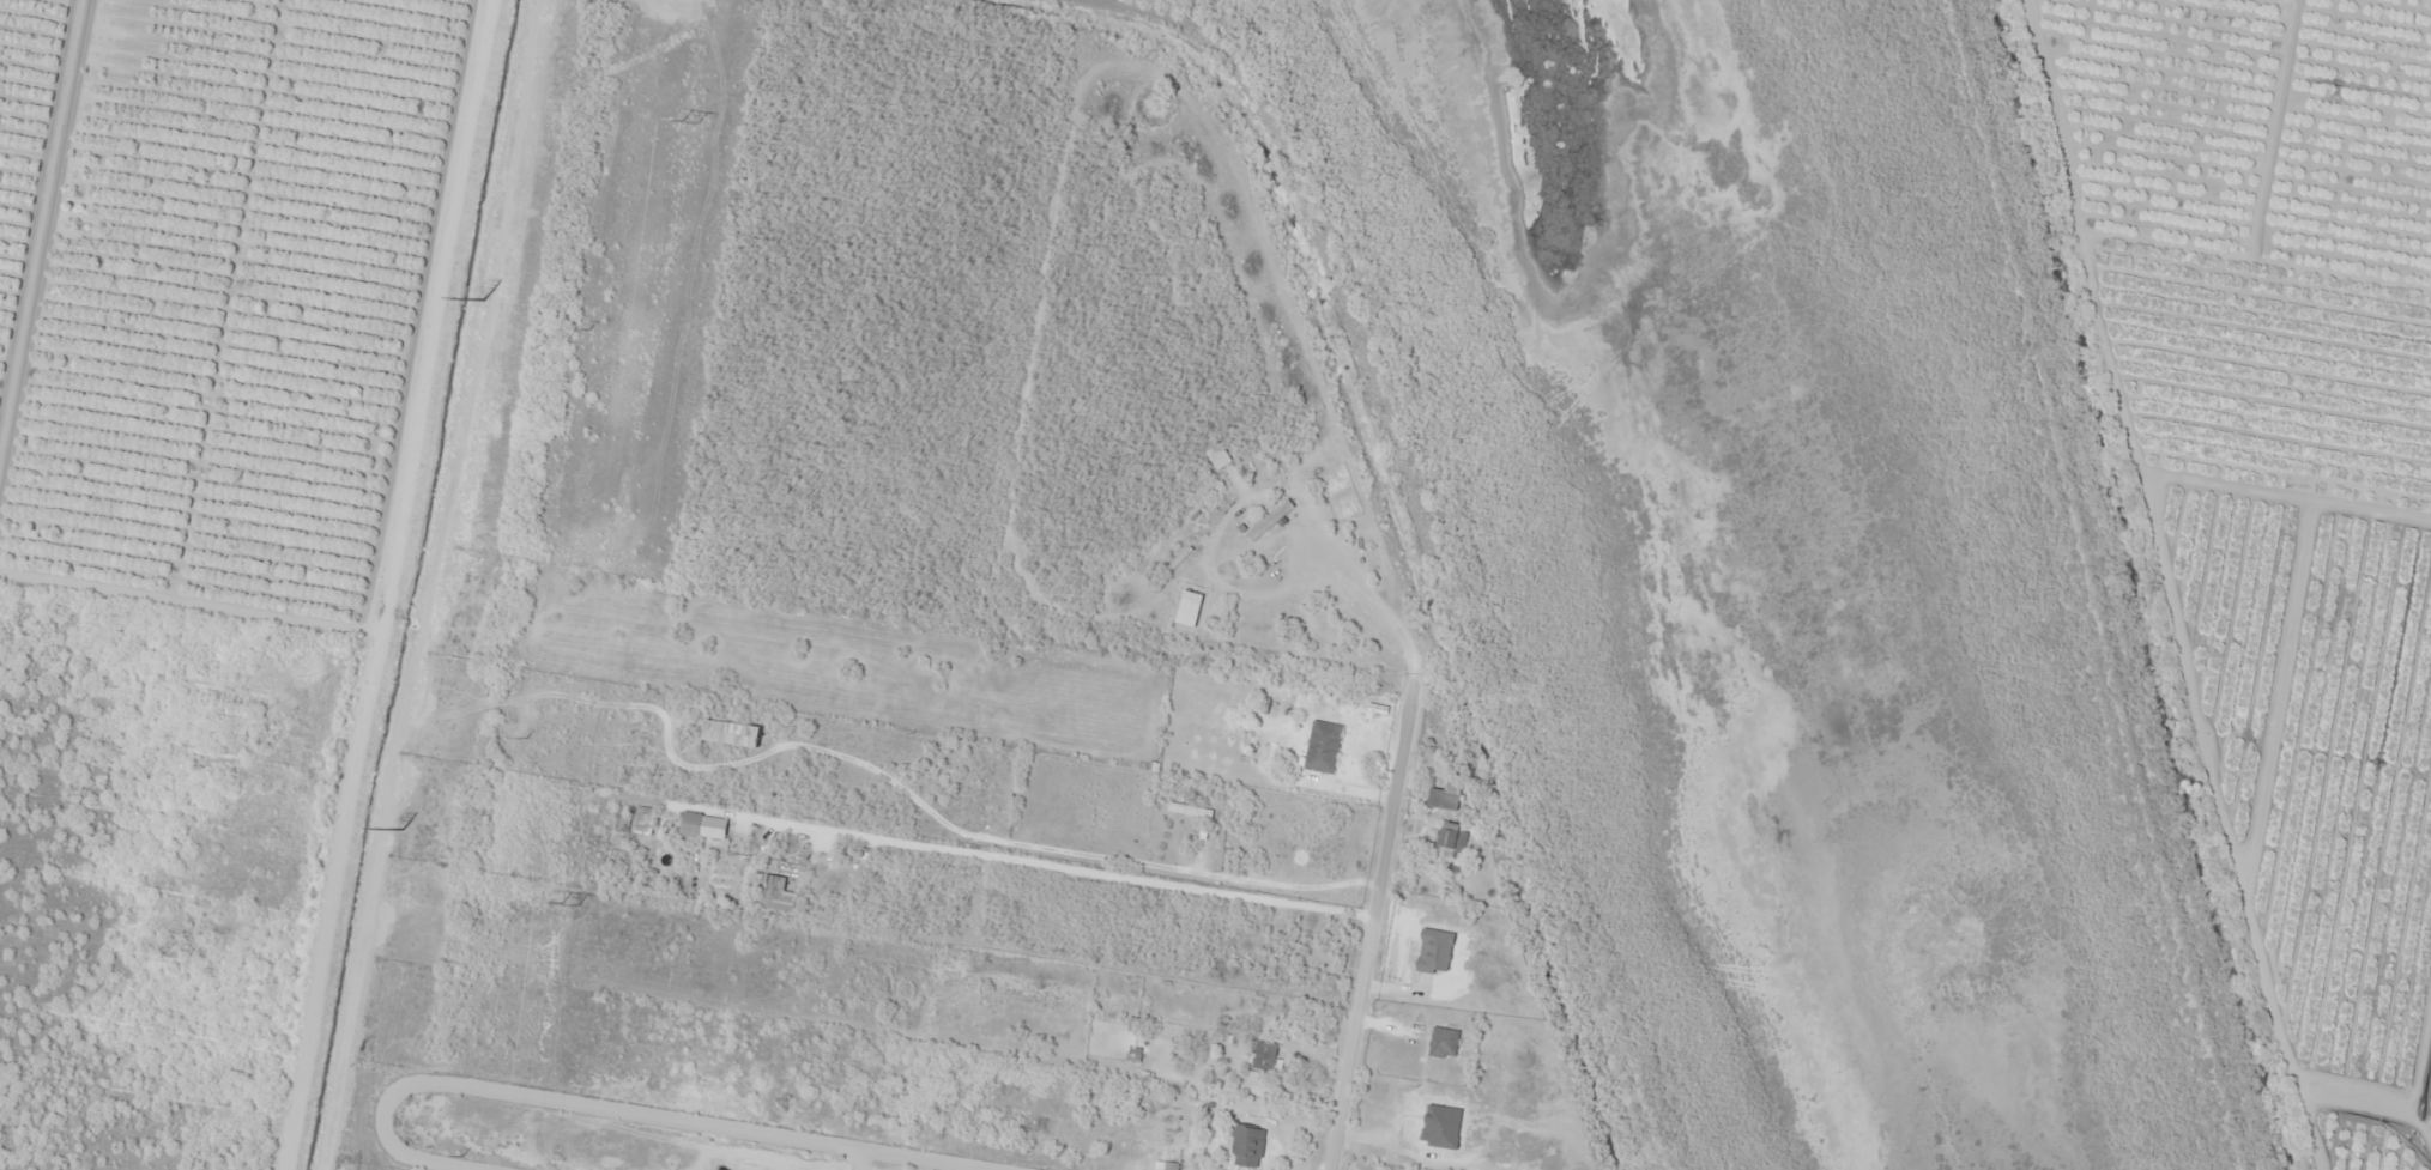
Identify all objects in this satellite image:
power tower: (689, 120)
power tower: (485, 302)
building: (1217, 456)
building: (1270, 519)
building: (1232, 572)
road: (404, 604)
building: (1187, 608)
building: (730, 733)
building: (1322, 746)
building: (1446, 794)
building: (1189, 810)
building: (642, 823)
building: (702, 826)
power tower: (403, 830)
building: (1452, 838)
power tower: (567, 903)
building: (1434, 951)
road: (1366, 956)
building: (1443, 1043)
building: (1264, 1055)
building: (1439, 1103)
building: (1246, 1146)
building: (1171, 1165)

